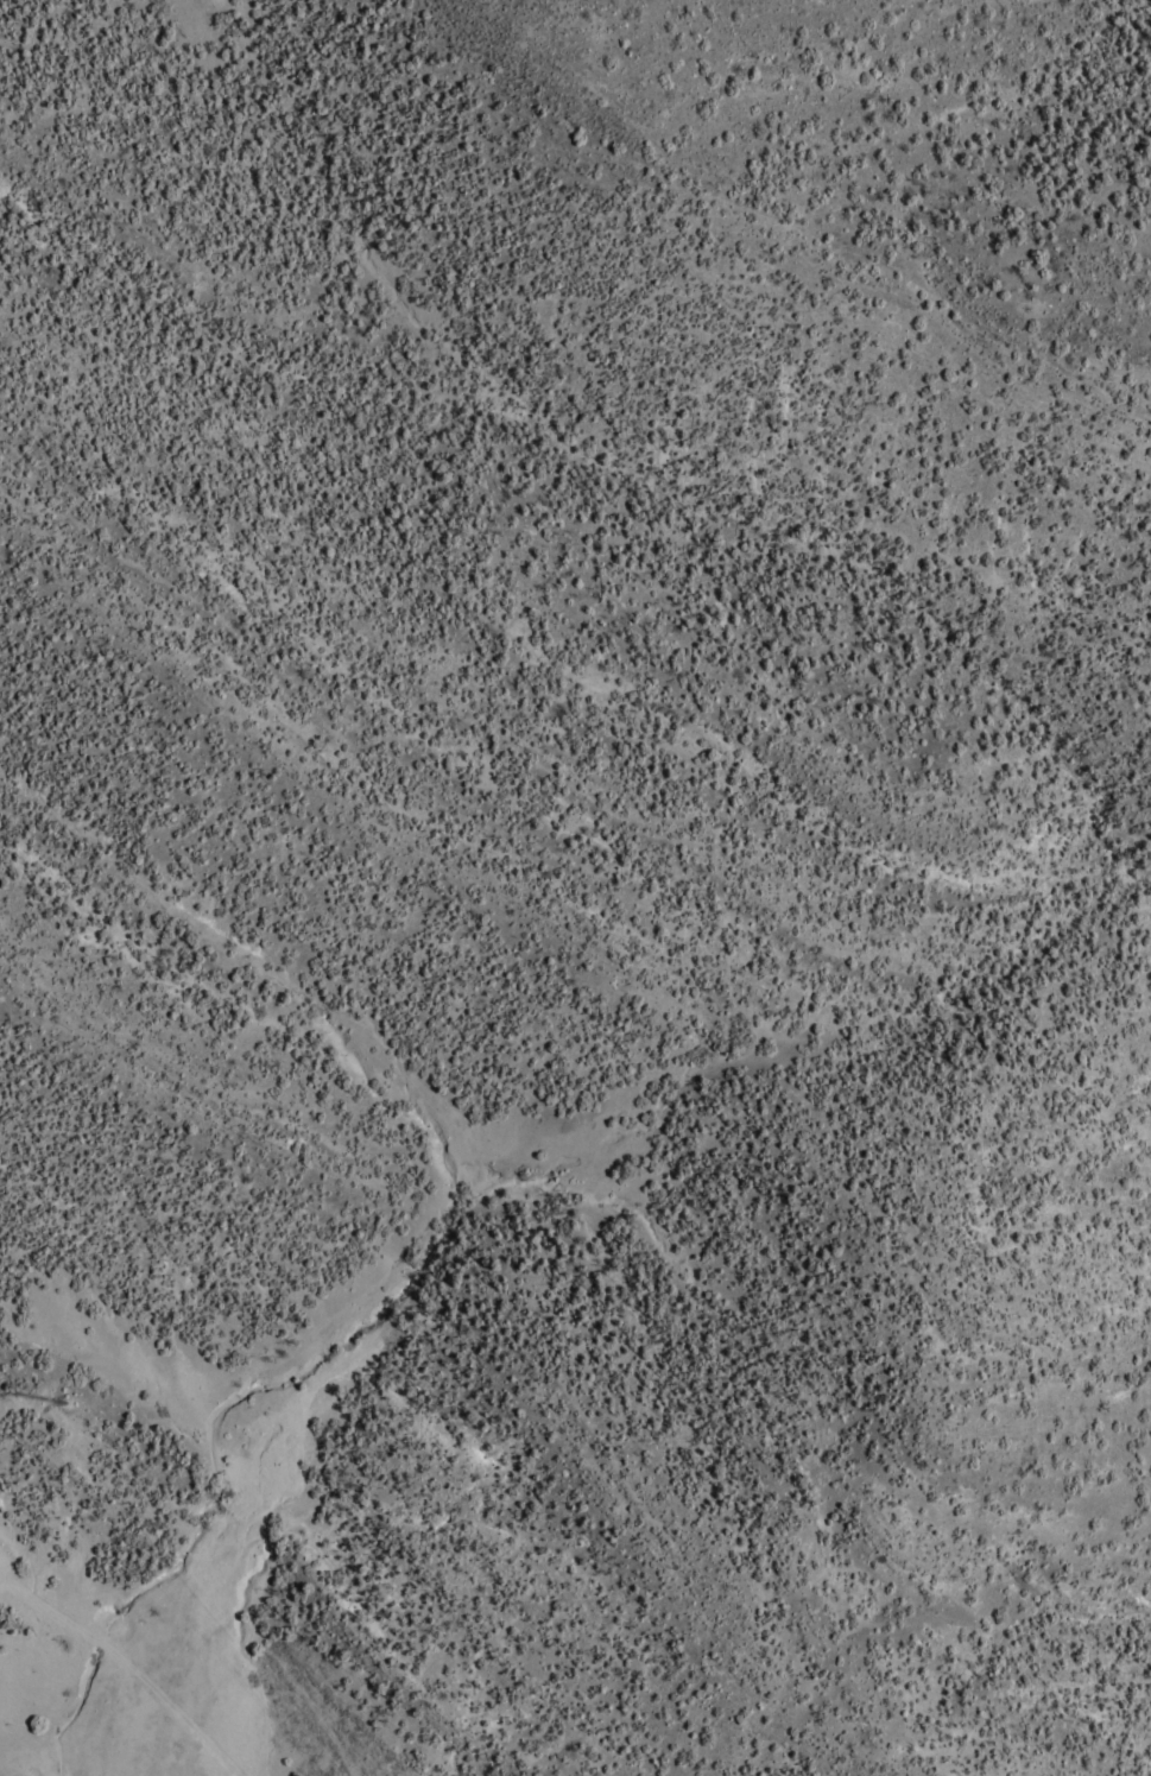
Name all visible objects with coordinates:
power tower: (68, 1402)
road: (127, 1667)

